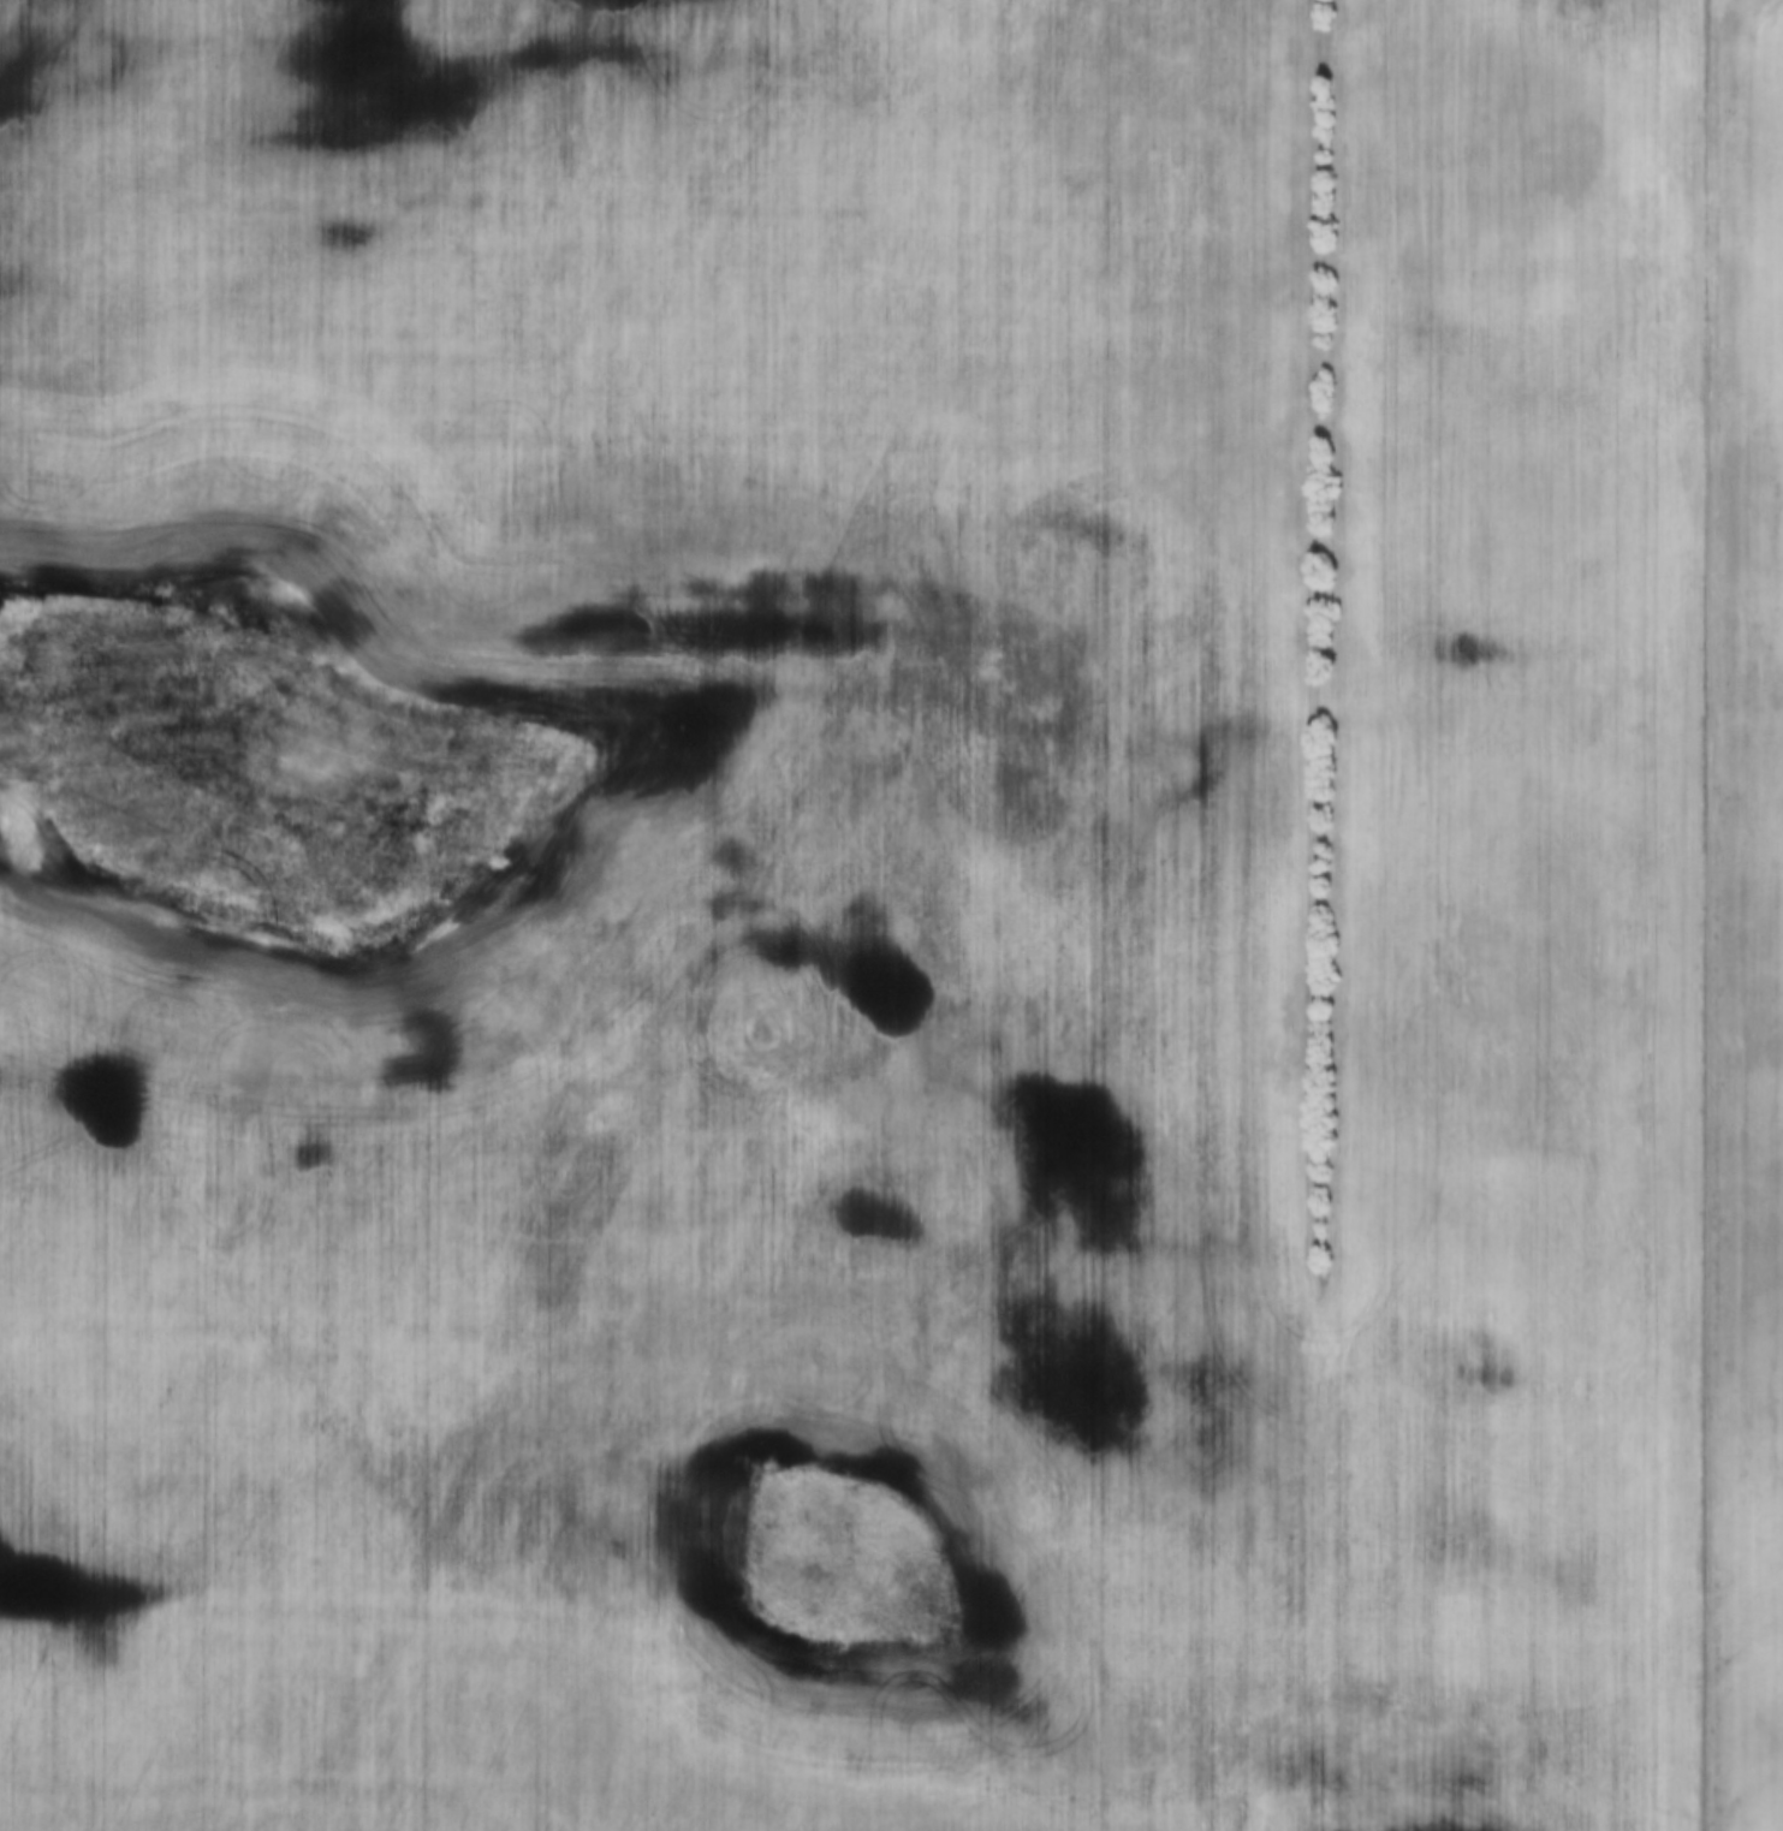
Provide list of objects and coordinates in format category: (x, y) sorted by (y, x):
road: (1712, 915)

